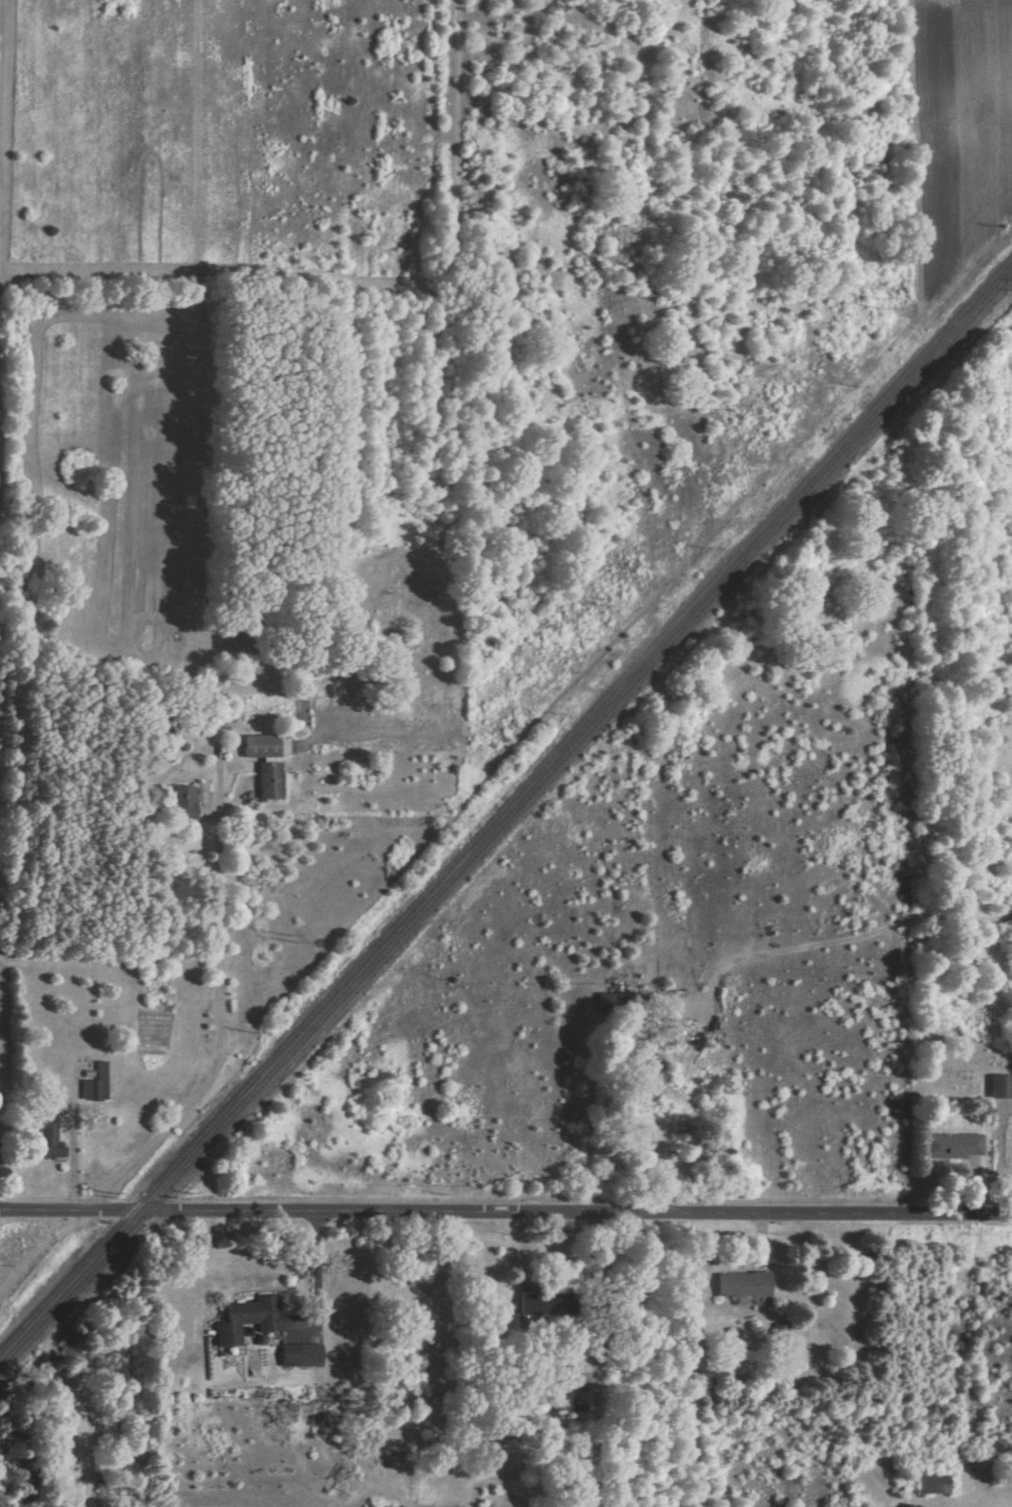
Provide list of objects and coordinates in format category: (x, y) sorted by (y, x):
power tower: (879, 302)
power tower: (607, 601)
building: (266, 762)
building: (180, 804)
railway: (505, 804)
railway: (505, 818)
power tower: (309, 939)
road: (221, 964)
building: (606, 1002)
building: (94, 1084)
building: (1000, 1087)
building: (45, 1139)
building: (951, 1146)
road: (505, 1212)
power tower: (23, 1255)
road: (316, 1274)
building: (740, 1285)
building: (538, 1303)
building: (245, 1319)
building: (298, 1356)
building: (560, 1388)
building: (930, 1485)
building: (908, 1506)

